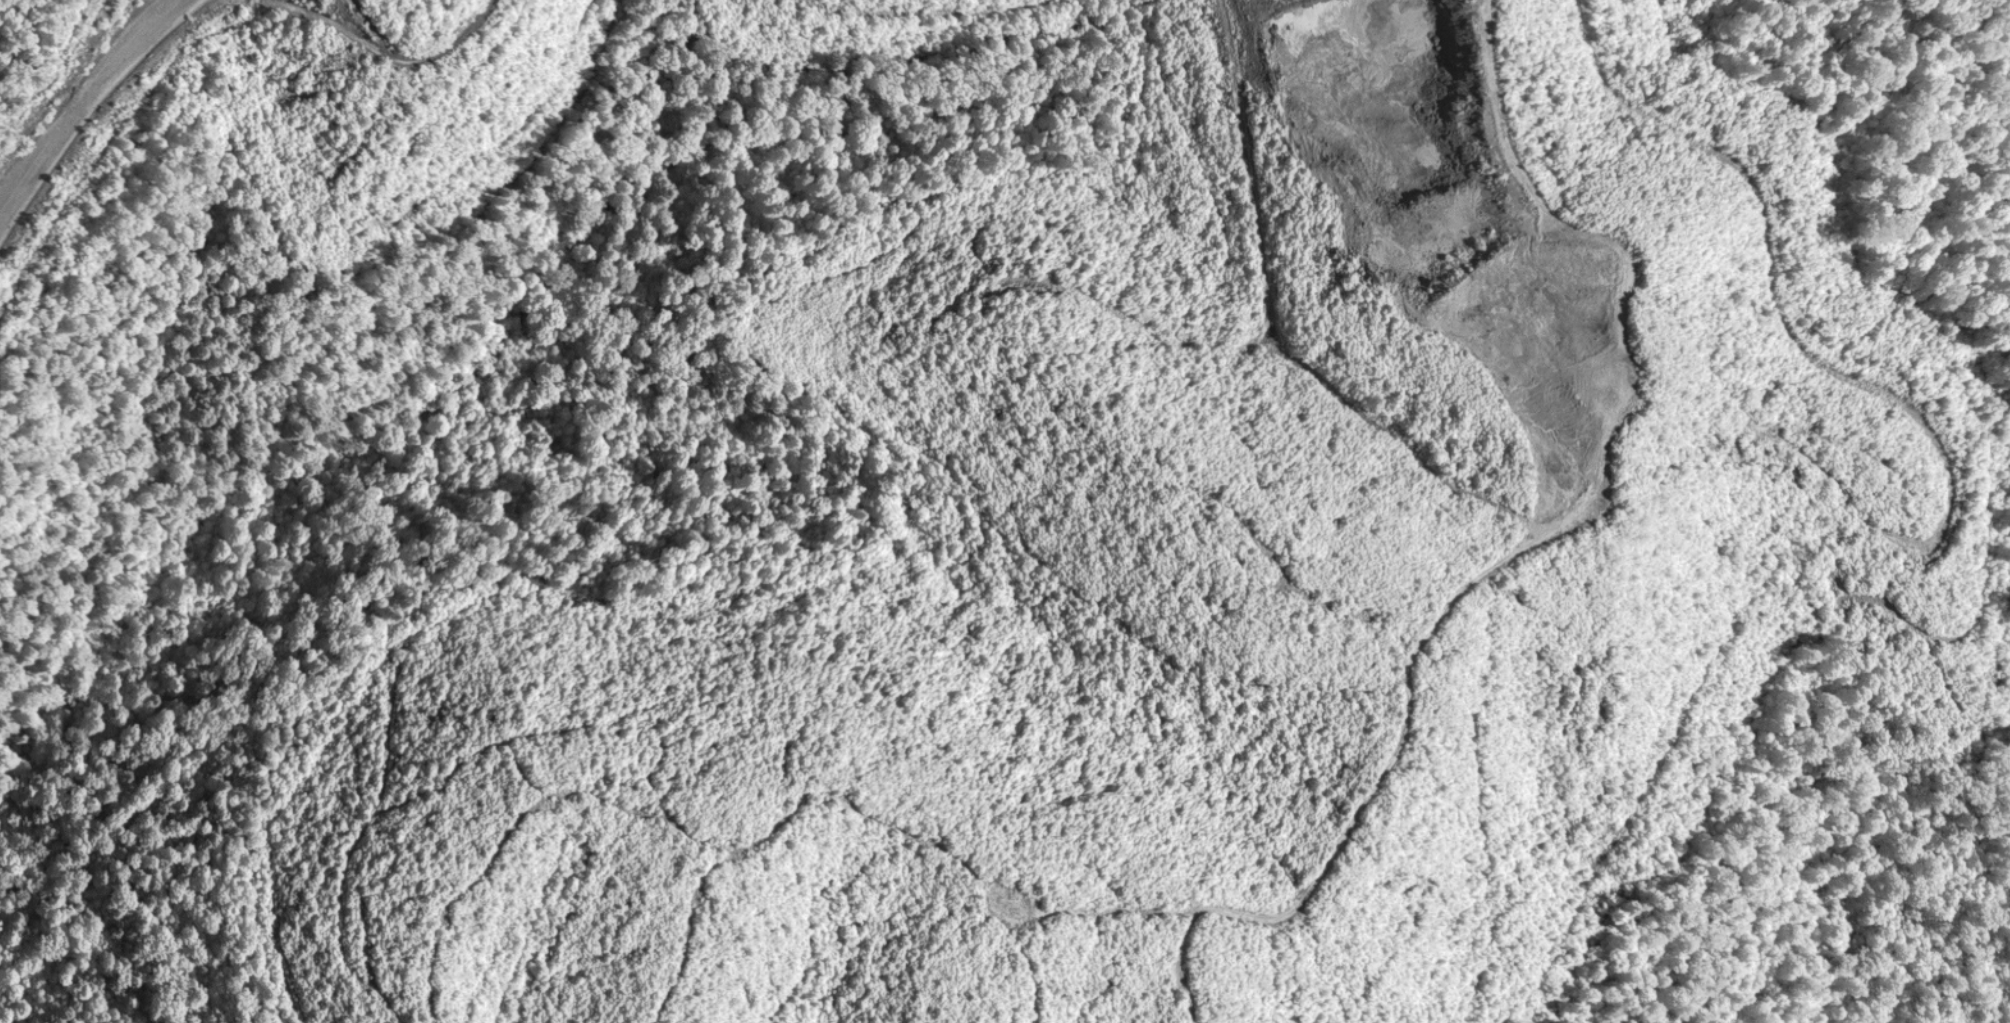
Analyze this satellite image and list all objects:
quarry: (1005, 511)

